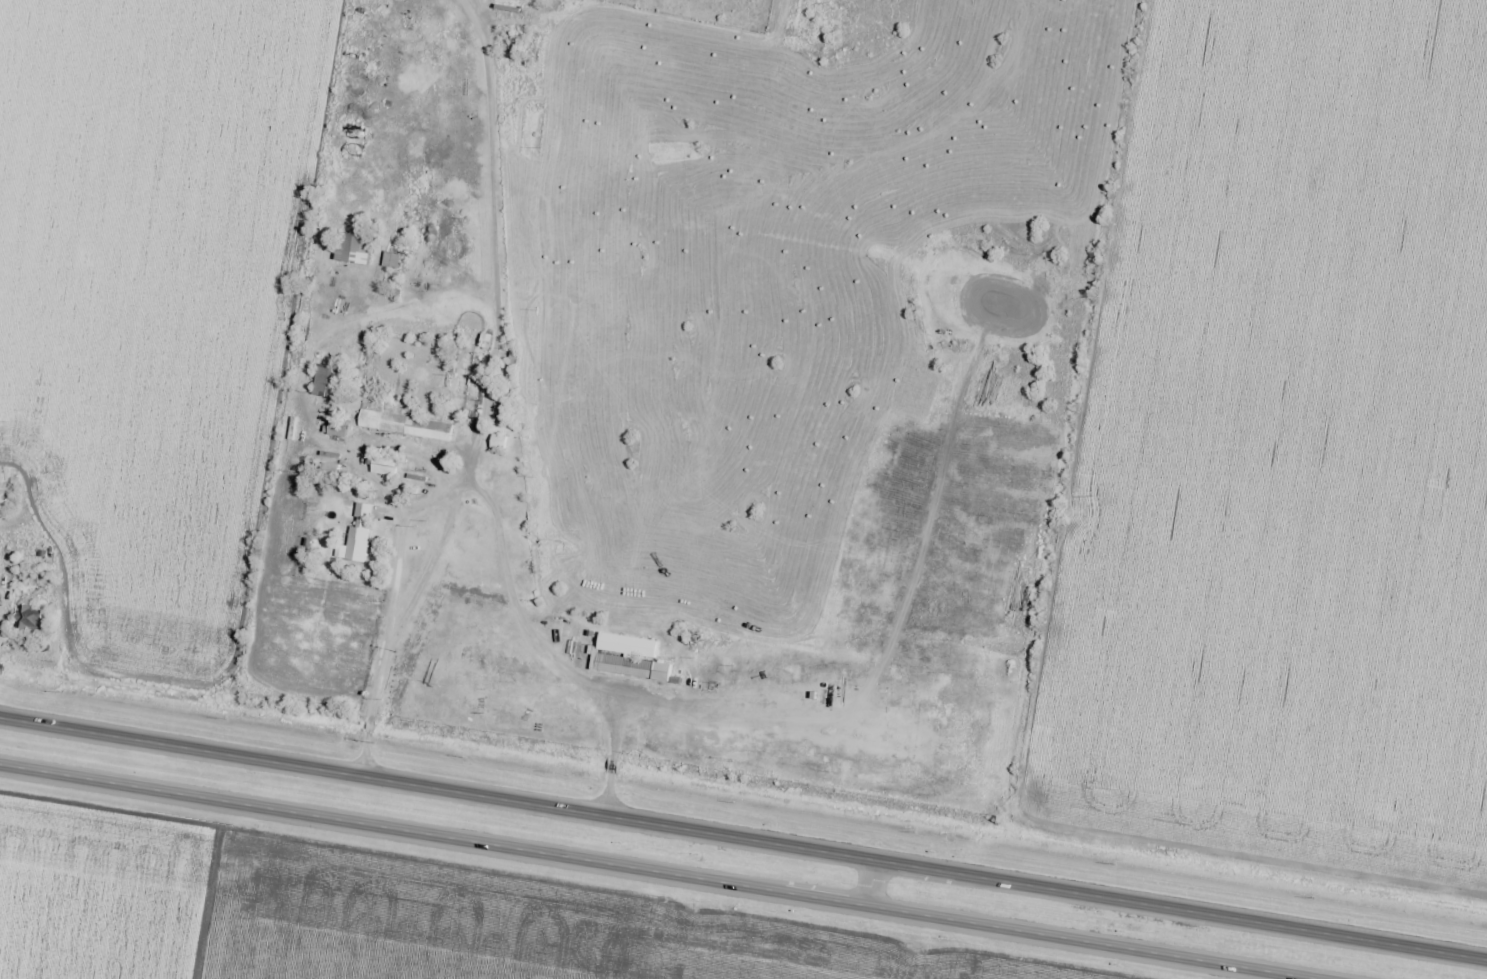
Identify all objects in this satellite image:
building: (356, 247)
building: (393, 260)
building: (328, 381)
building: (407, 426)
building: (341, 430)
building: (387, 466)
building: (360, 545)
building: (35, 620)
building: (631, 645)
building: (635, 667)
road: (743, 837)
road: (659, 871)
road: (869, 882)
crop: (390, 911)

